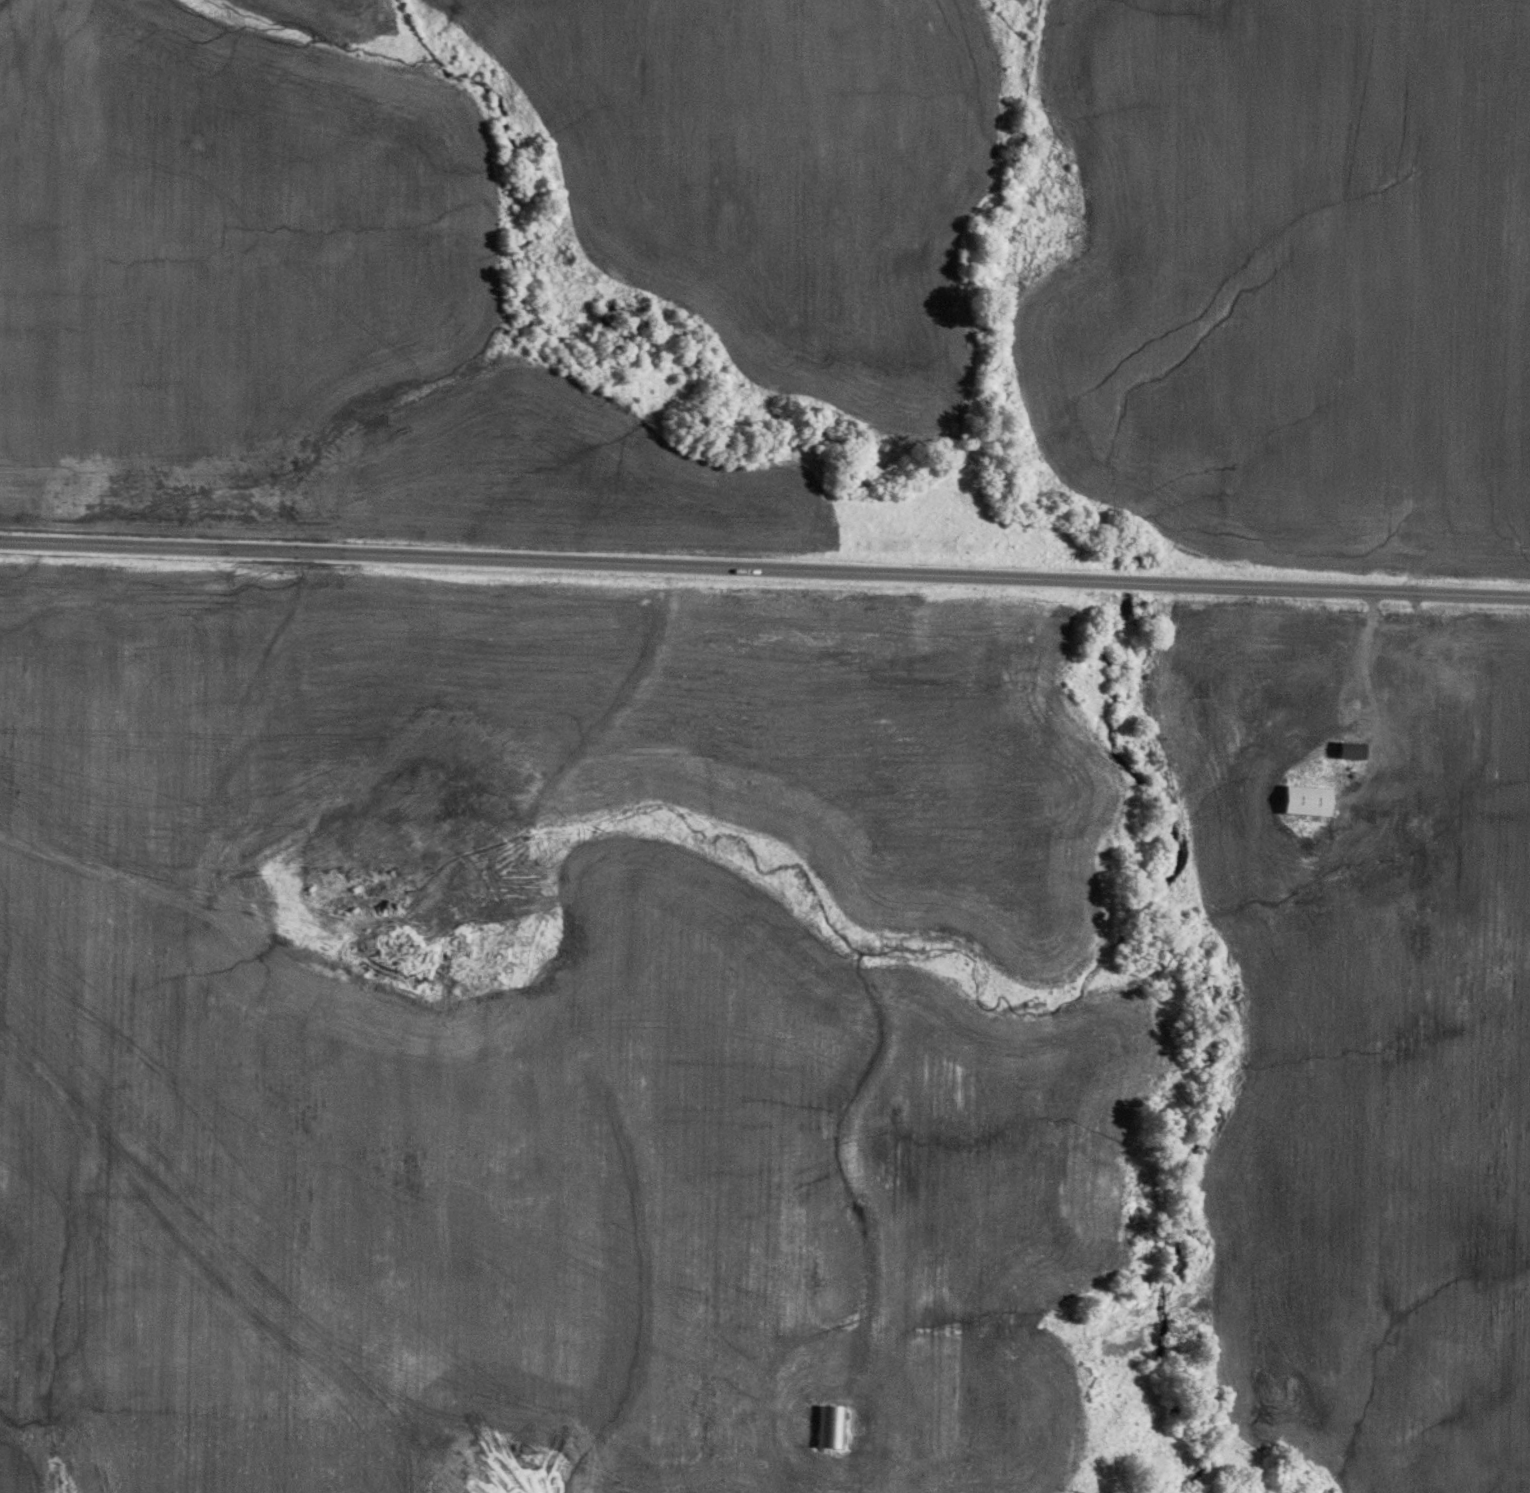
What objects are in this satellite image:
road: (765, 567)
road: (1364, 646)
building: (1427, 653)
building: (1323, 666)
building: (1352, 701)
building: (1399, 740)
building: (1342, 750)
building: (1300, 801)
building: (831, 1426)

